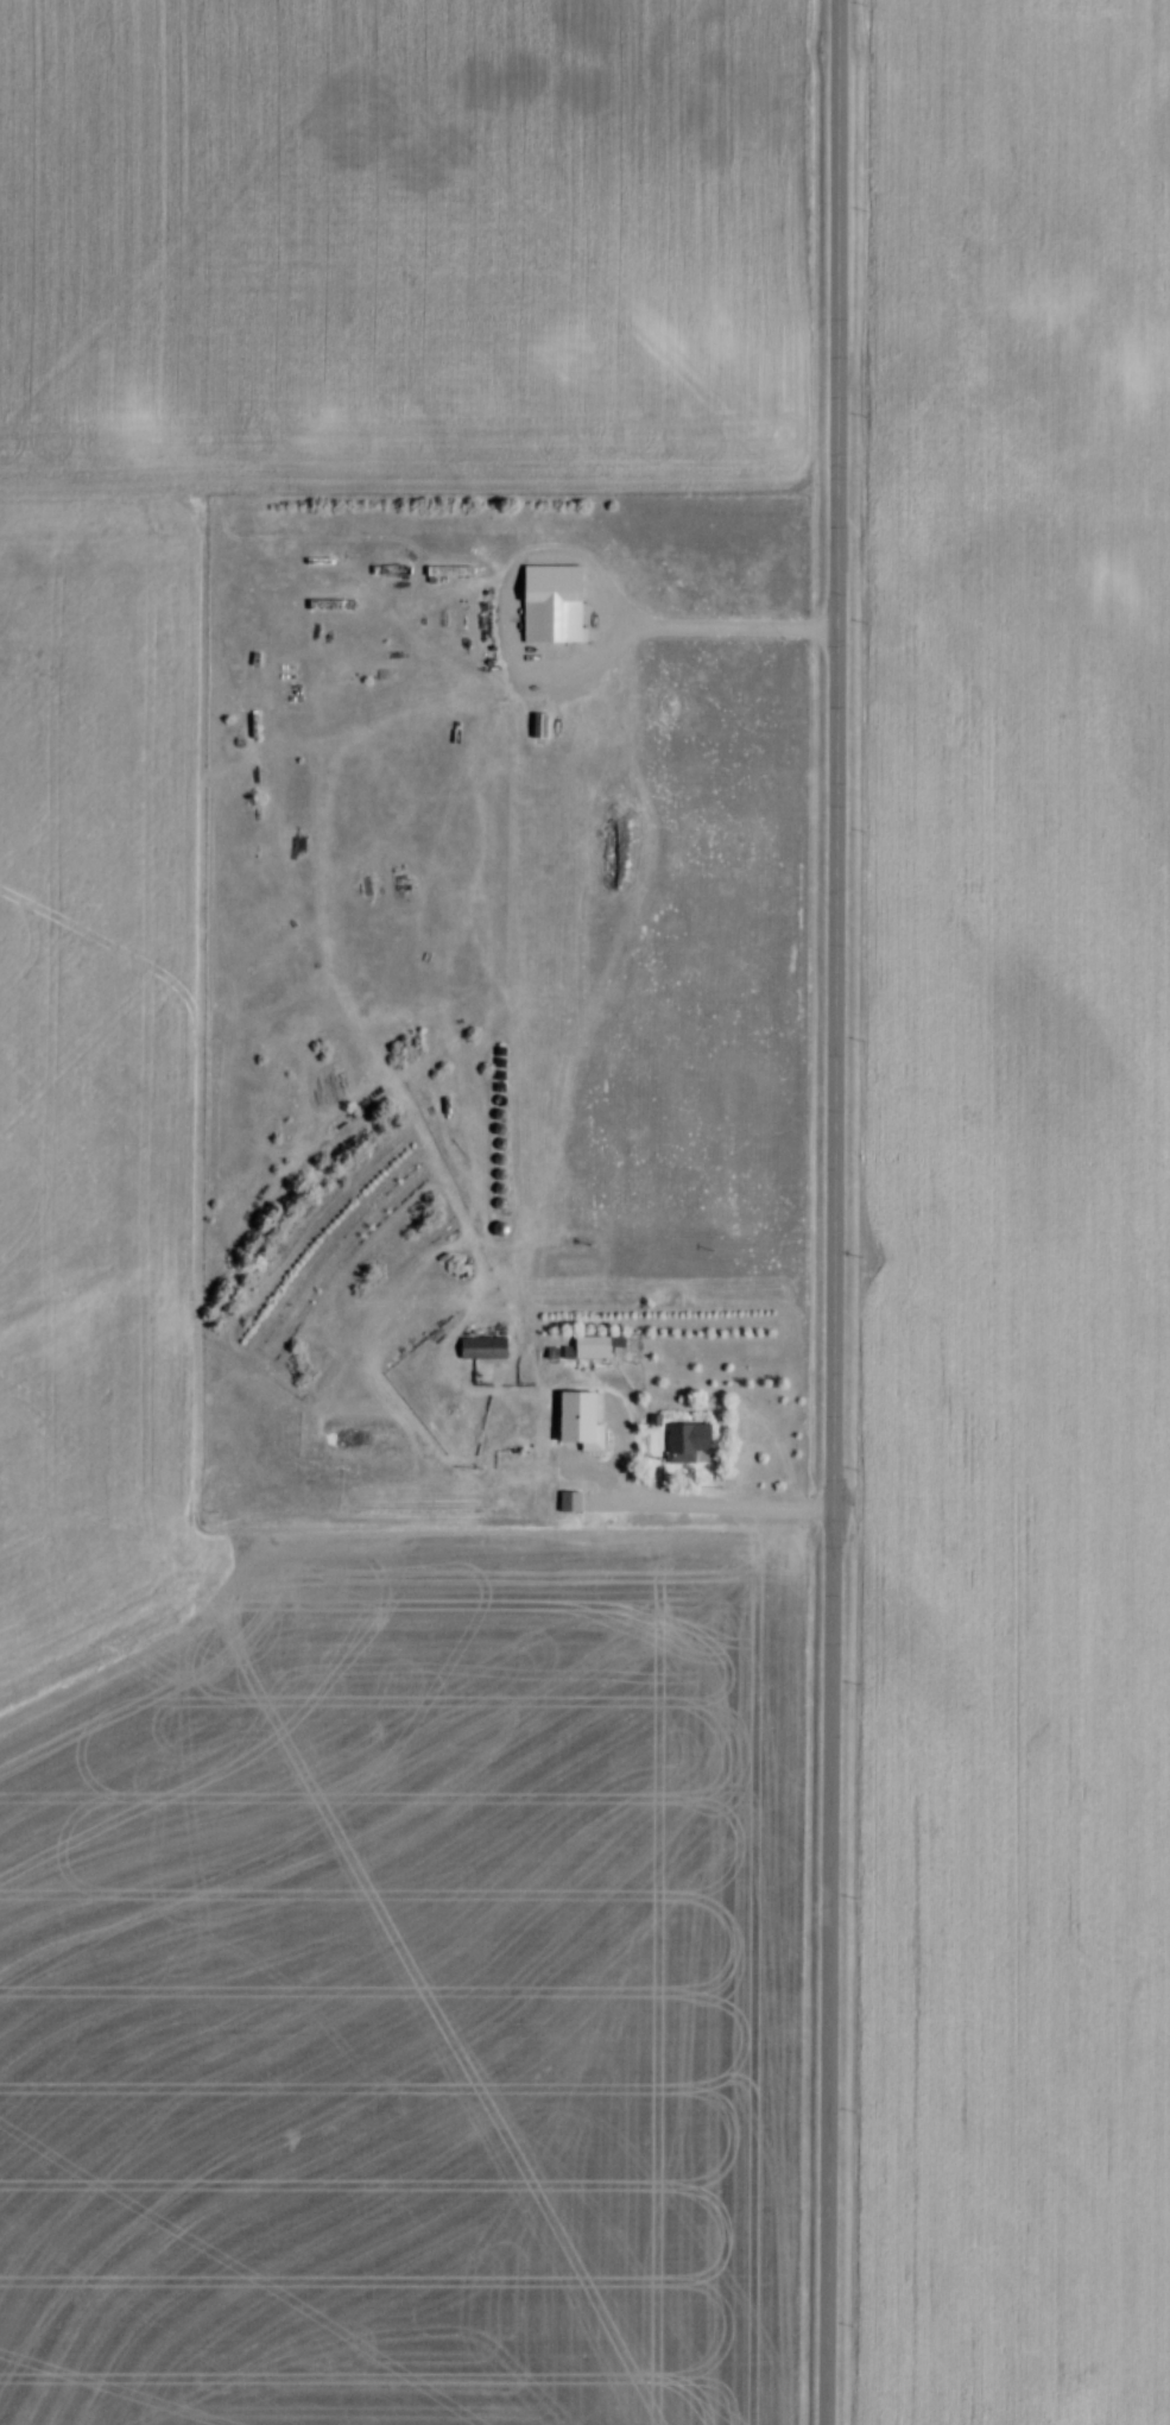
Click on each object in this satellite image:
building: (336, 580)
building: (546, 604)
road: (543, 670)
crop: (91, 1011)
building: (492, 1104)
silo: (492, 1104)
building: (492, 1118)
silo: (492, 1118)
building: (493, 1131)
silo: (493, 1131)
building: (494, 1147)
silo: (494, 1147)
building: (493, 1162)
silo: (493, 1162)
building: (493, 1176)
silo: (493, 1176)
building: (493, 1192)
silo: (493, 1192)
building: (492, 1206)
silo: (492, 1206)
road: (835, 1212)
crop: (1010, 1231)
building: (492, 1232)
silo: (492, 1232)
building: (590, 1347)
building: (476, 1351)
building: (559, 1356)
building: (570, 1417)
building: (684, 1439)
road: (687, 1502)
building: (561, 1504)

